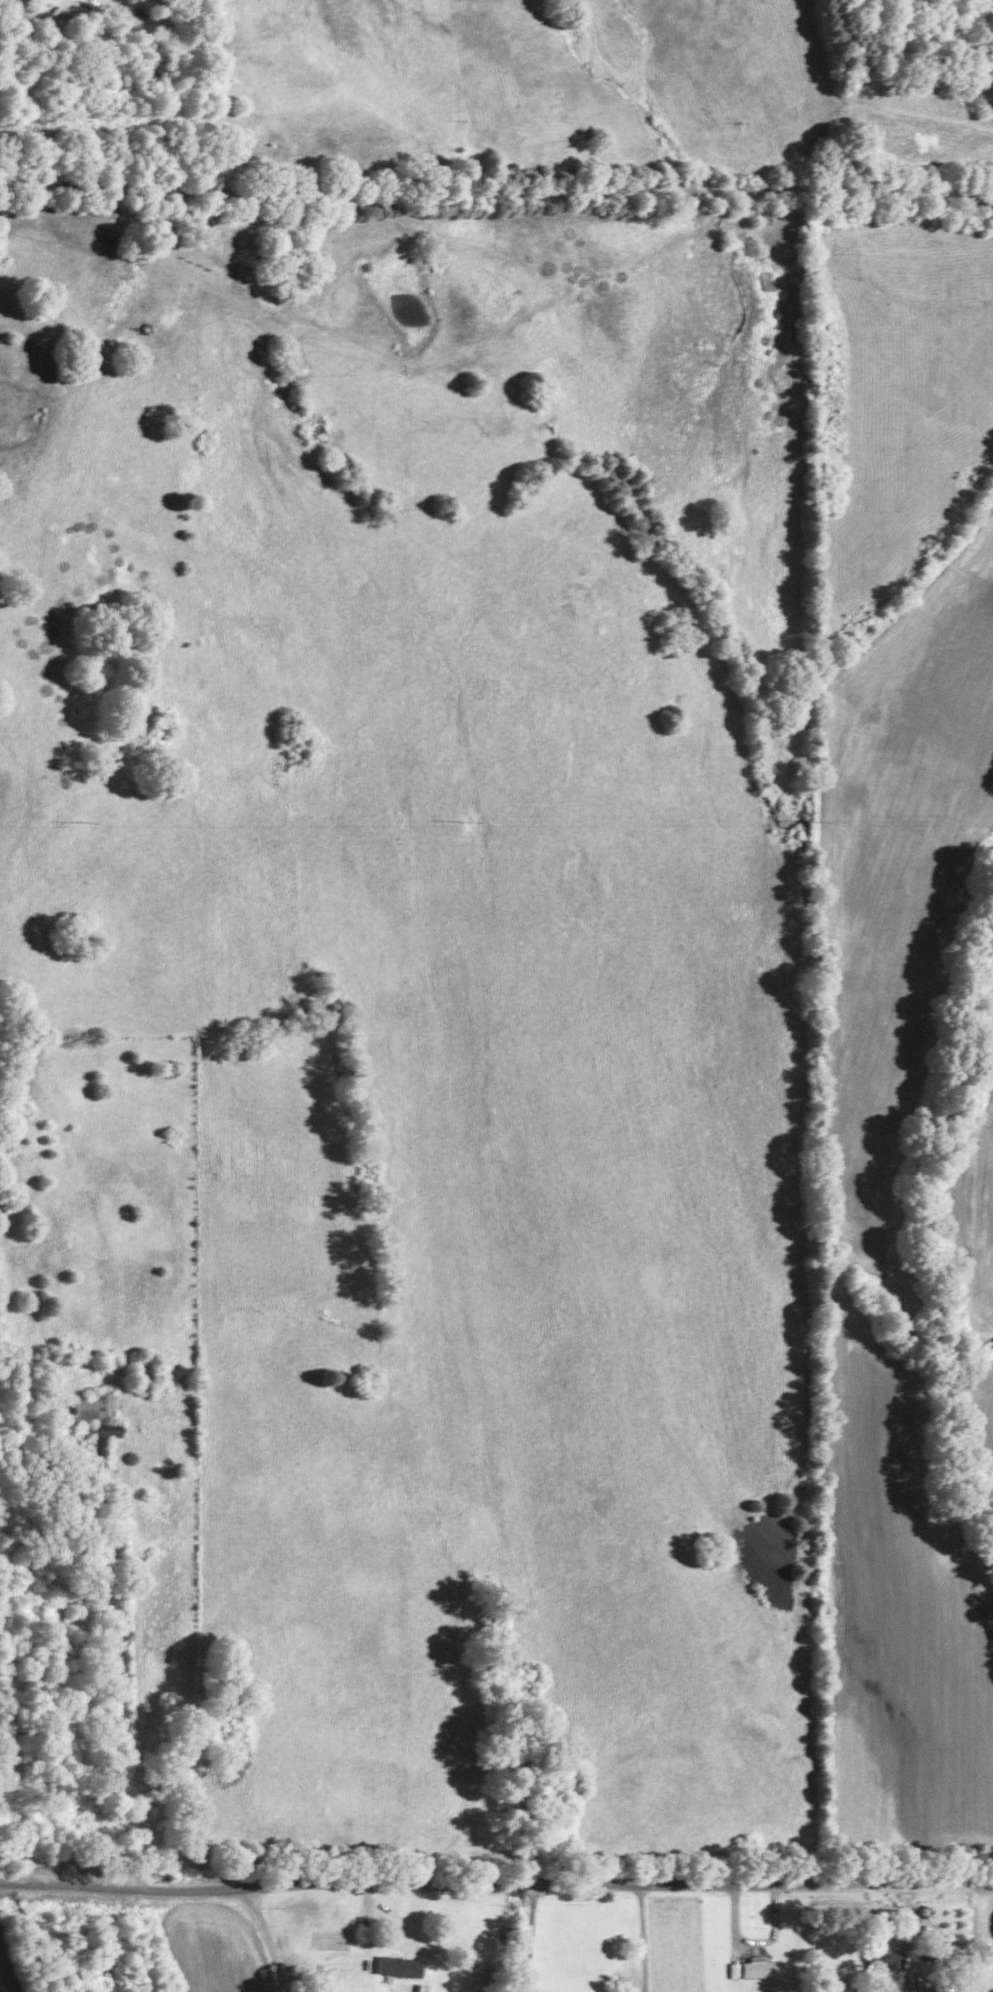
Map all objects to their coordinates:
road: (496, 191)
building: (97, 1416)
road: (496, 1884)
road: (529, 1937)
road: (645, 1937)
road: (260, 1939)
building: (883, 1950)
building: (398, 1965)
building: (756, 1966)

